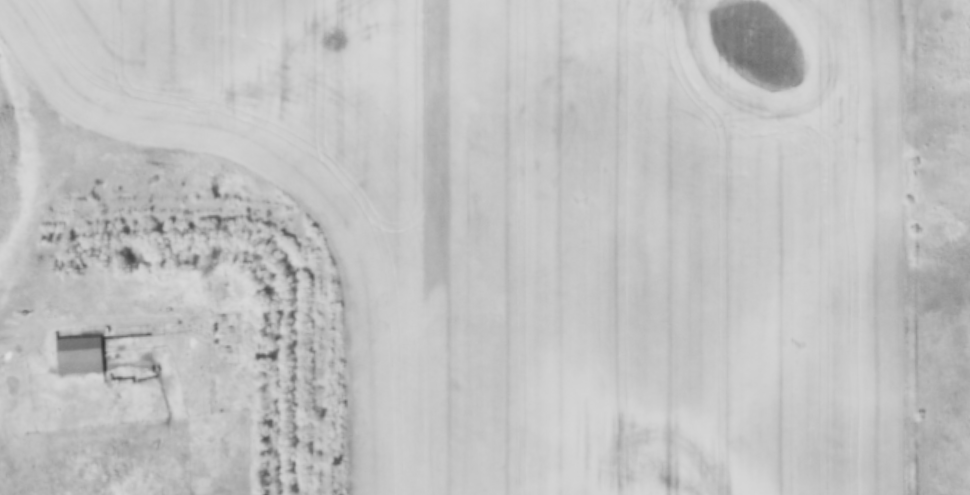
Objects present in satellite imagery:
road: (44, 327)
building: (78, 356)

